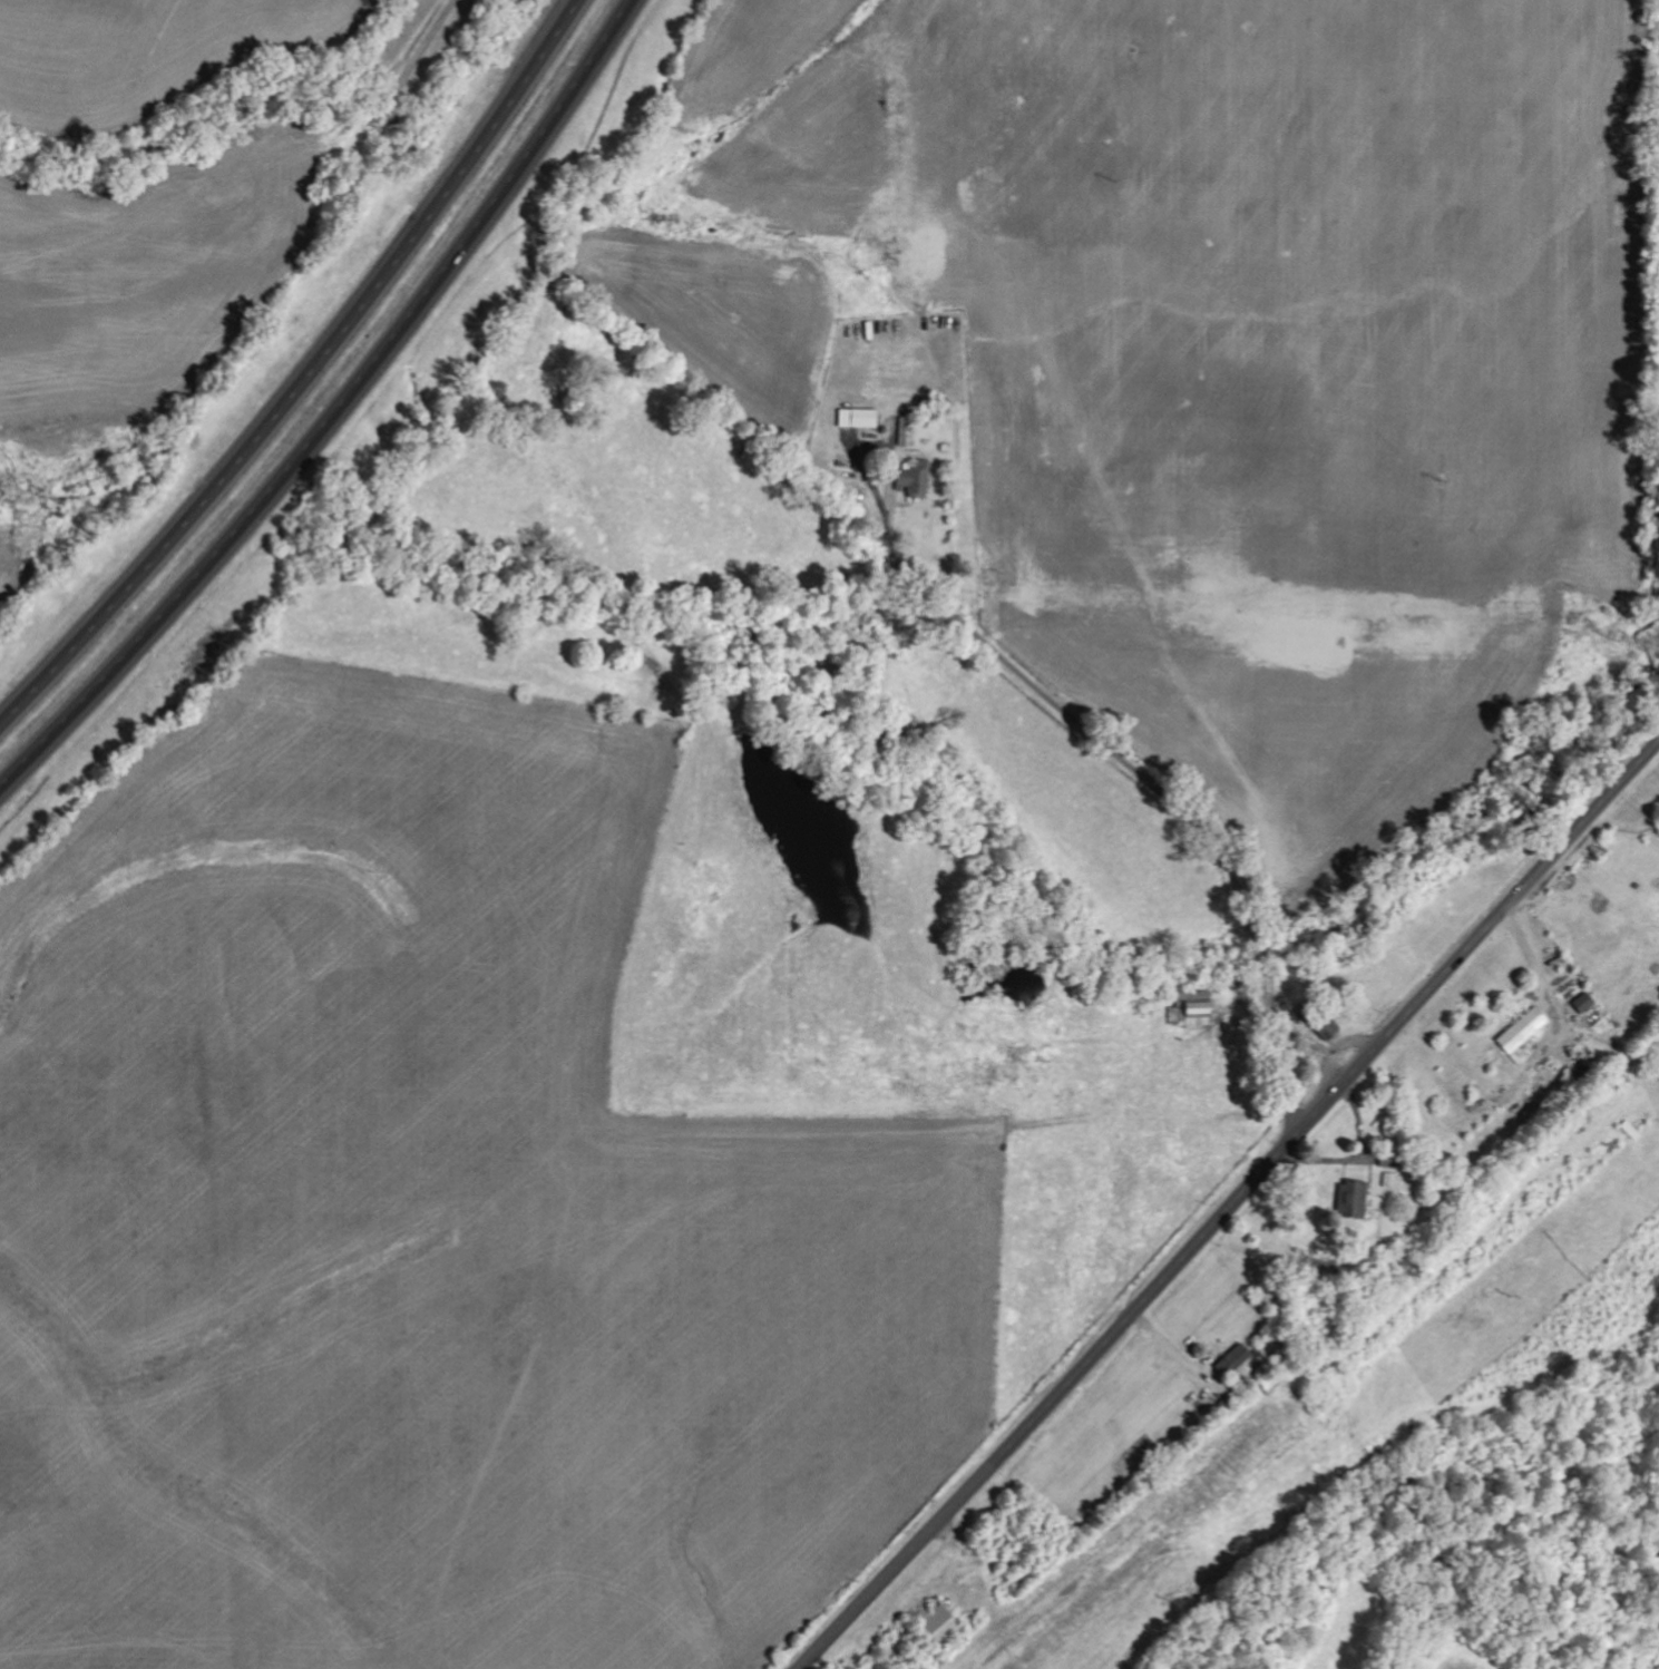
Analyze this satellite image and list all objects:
road: (421, 51)
road: (304, 373)
road: (335, 410)
building: (859, 419)
building: (916, 477)
road: (1164, 792)
building: (1585, 1003)
building: (1196, 1011)
building: (1523, 1031)
road: (1346, 1080)
building: (1355, 1200)
building: (1236, 1361)
road: (915, 1544)

